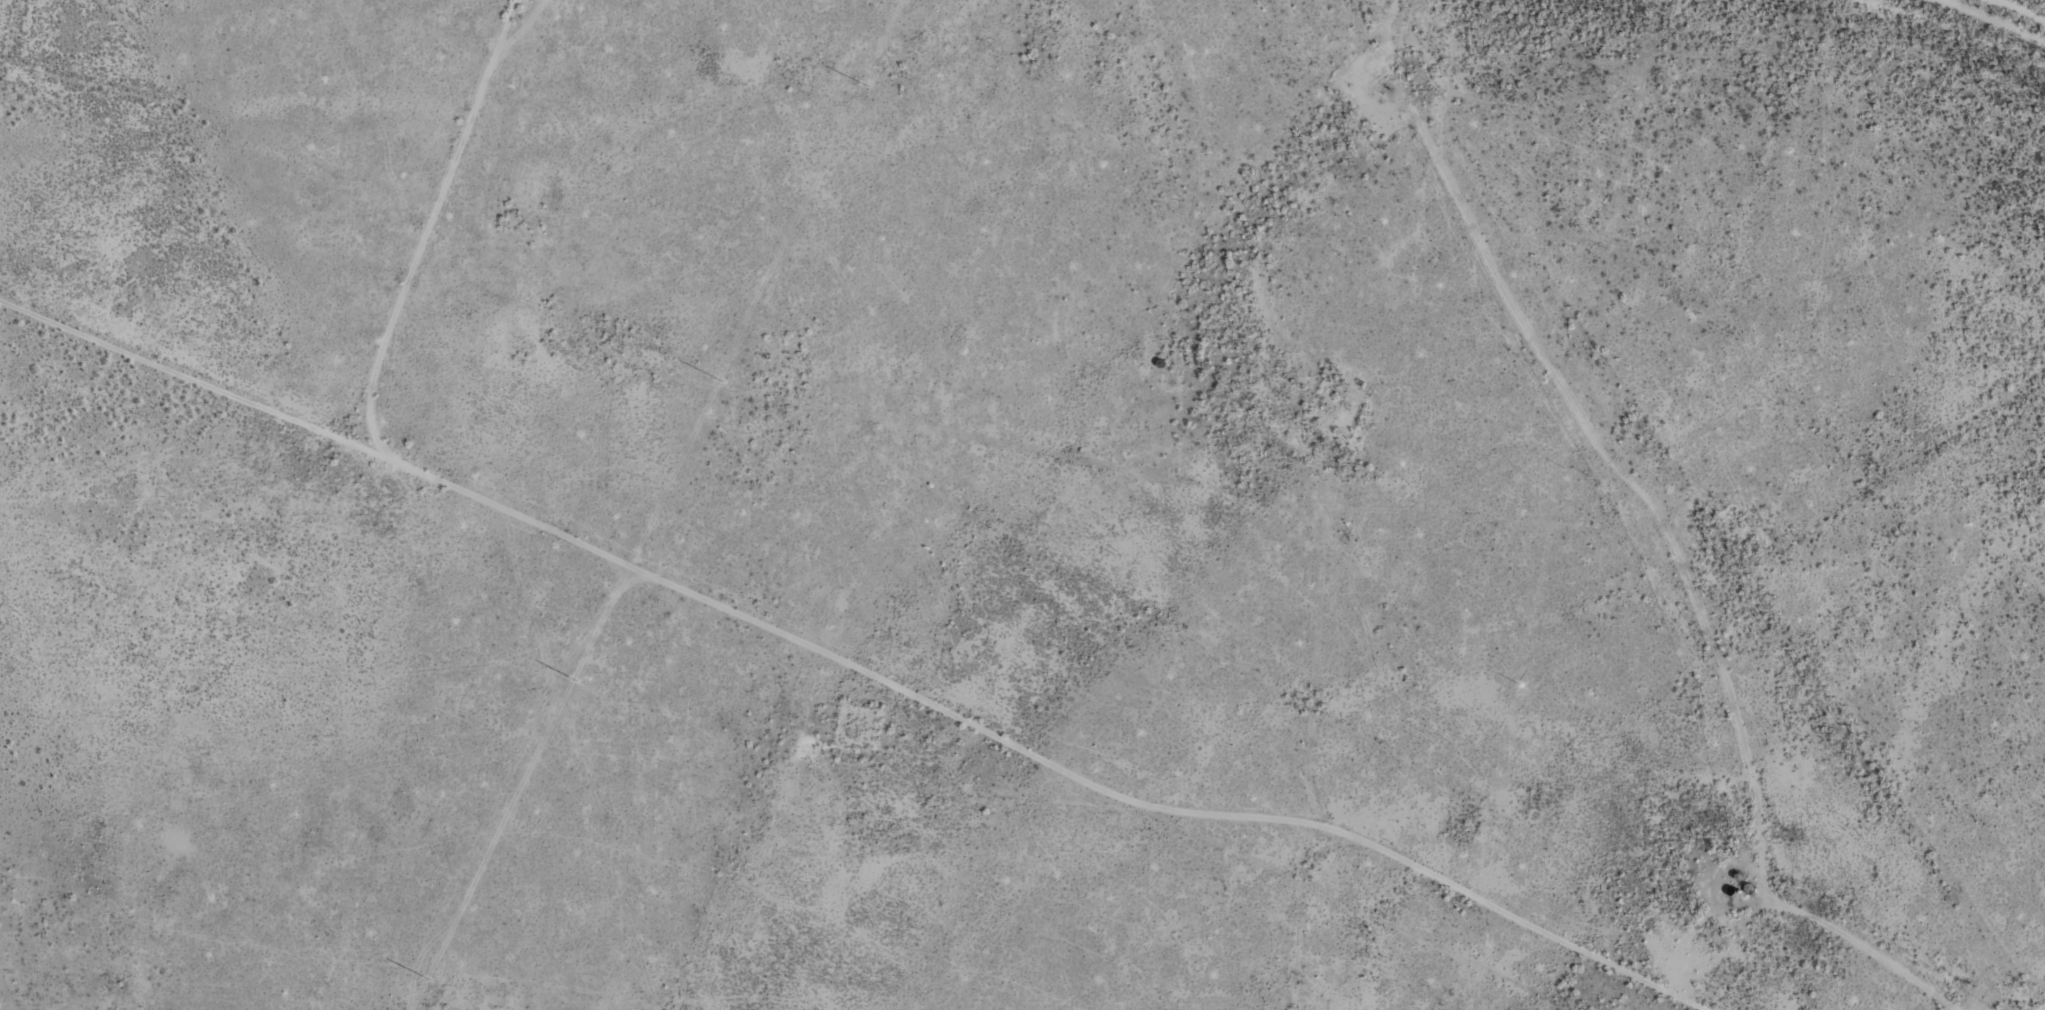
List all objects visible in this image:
power tower: (863, 83)
power tower: (717, 381)
road: (641, 581)
road: (1297, 668)
power tower: (571, 679)
road: (750, 837)
road: (1296, 929)
power tower: (426, 978)

